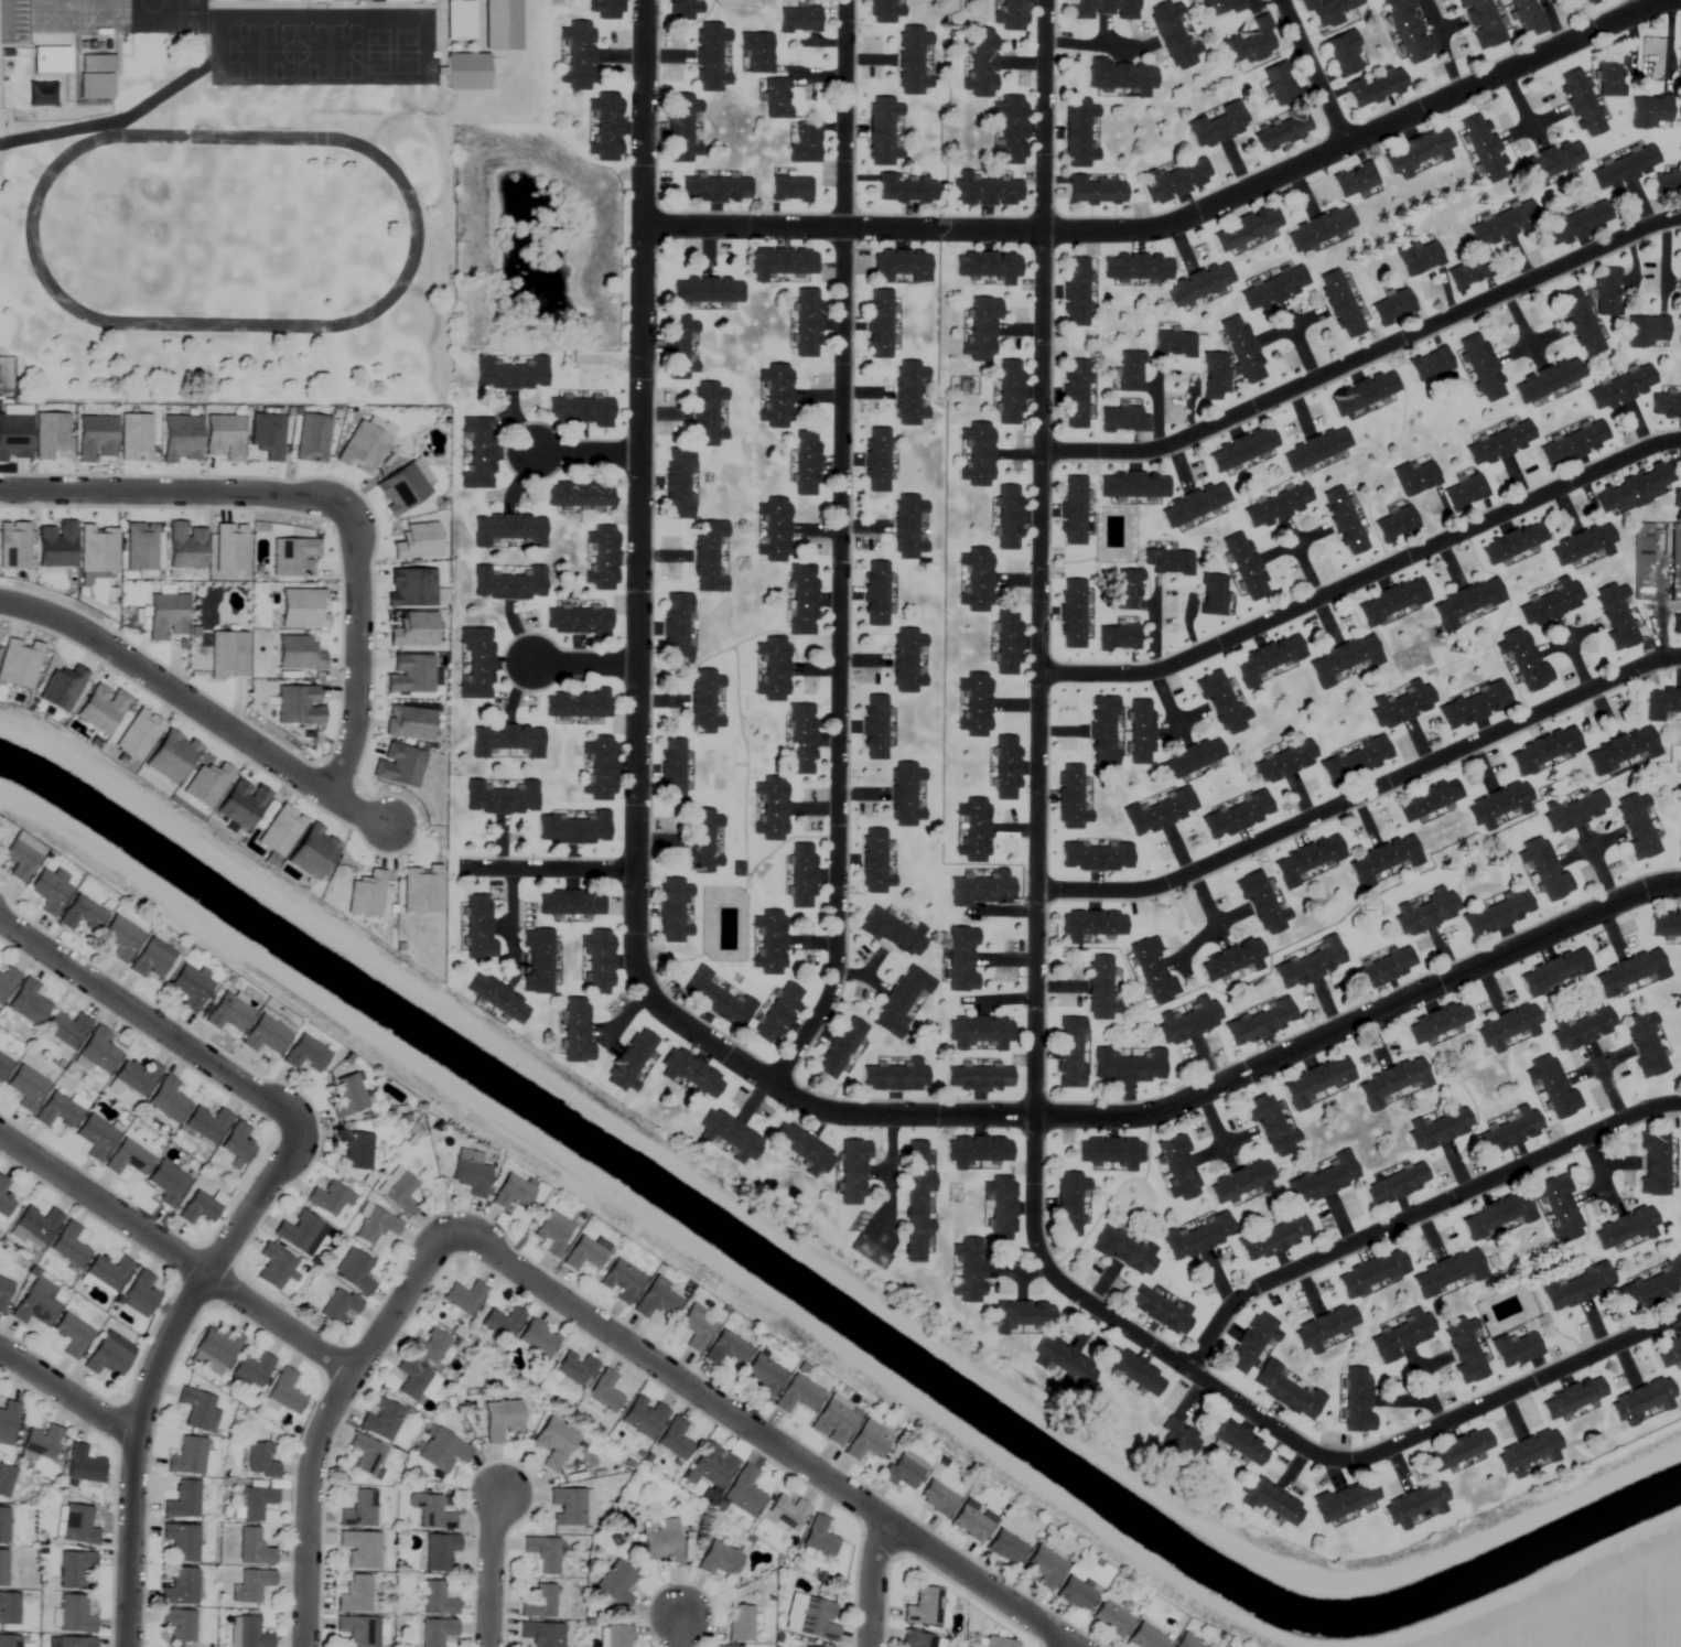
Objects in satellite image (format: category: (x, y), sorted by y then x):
building: (349, 1)
building: (1590, 1)
building: (1219, 7)
building: (1104, 9)
building: (617, 10)
building: (683, 10)
building: (1328, 11)
building: (883, 12)
building: (1010, 15)
building: (1528, 17)
building: (459, 20)
building: (798, 20)
building: (502, 23)
building: (1480, 23)
building: (1408, 30)
building: (1172, 36)
building: (1251, 43)
road: (1100, 44)
road: (1441, 46)
building: (756, 52)
building: (581, 53)
building: (1344, 55)
building: (709, 56)
building: (52, 57)
building: (910, 61)
building: (97, 62)
building: (979, 63)
building: (466, 68)
road: (1316, 73)
building: (1121, 76)
building: (1610, 76)
building: (1679, 80)
building: (96, 84)
building: (1279, 85)
building: (1375, 89)
building: (41, 95)
building: (776, 99)
building: (1580, 104)
building: (1650, 112)
building: (1218, 126)
building: (680, 128)
building: (610, 129)
building: (881, 130)
building: (1011, 130)
building: (1283, 131)
building: (1078, 133)
building: (805, 144)
building: (1484, 148)
building: (1418, 153)
building: (1545, 163)
building: (1625, 168)
building: (1175, 180)
building: (1355, 180)
building: (1667, 184)
building: (790, 189)
building: (905, 189)
building: (714, 190)
building: (1096, 190)
building: (984, 192)
road: (1179, 222)
building: (1576, 224)
building: (1246, 227)
building: (1495, 227)
building: (1319, 228)
building: (1418, 257)
building: (779, 261)
building: (901, 265)
building: (989, 265)
building: (1136, 266)
building: (1468, 272)
building: (1198, 283)
building: (1274, 288)
building: (707, 289)
building: (1075, 291)
building: (1606, 292)
building: (1679, 300)
building: (1339, 303)
building: (1392, 308)
building: (1580, 322)
building: (807, 323)
building: (877, 324)
building: (981, 329)
building: (1647, 330)
building: (1174, 344)
building: (678, 346)
building: (1242, 349)
road: (1366, 356)
building: (1430, 364)
building: (1481, 367)
building: (514, 372)
building: (1130, 372)
building: (1214, 376)
building: (1547, 379)
building: (1620, 387)
building: (1010, 391)
building: (1362, 392)
building: (908, 394)
building: (1074, 394)
building: (775, 395)
building: (1666, 405)
building: (582, 410)
building: (707, 413)
building: (1122, 419)
road: (642, 433)
building: (1499, 443)
building: (1573, 443)
building: (1241, 448)
building: (1315, 449)
building: (482, 452)
road: (583, 453)
building: (977, 454)
building: (876, 460)
building: (806, 463)
building: (1414, 477)
building: (678, 483)
building: (1133, 485)
building: (1635, 488)
building: (1464, 492)
road: (173, 494)
building: (583, 495)
building: (1677, 497)
building: (1194, 504)
building: (1276, 505)
building: (1073, 510)
building: (1007, 517)
building: (1343, 521)
building: (1396, 524)
building: (907, 527)
building: (509, 528)
building: (774, 529)
building: (1511, 542)
building: (1582, 543)
road: (842, 550)
building: (708, 556)
building: (606, 557)
building: (1170, 561)
building: (1641, 562)
building: (1674, 562)
building: (1246, 566)
building: (976, 580)
road: (1366, 580)
building: (509, 583)
building: (1128, 590)
building: (875, 593)
building: (1213, 594)
building: (801, 599)
building: (1392, 600)
building: (1465, 602)
building: (1551, 602)
building: (1071, 614)
building: (1615, 617)
building: (579, 620)
building: (1675, 624)
building: (676, 628)
road: (742, 638)
building: (1118, 638)
building: (1007, 643)
road: (354, 653)
building: (1522, 658)
building: (1265, 659)
building: (1341, 659)
building: (906, 660)
building: (478, 663)
road: (585, 664)
building: (772, 668)
building: (703, 701)
building: (579, 702)
building: (974, 703)
building: (1221, 703)
building: (1401, 704)
building: (1474, 704)
building: (1663, 704)
road: (198, 709)
building: (874, 726)
building: (1102, 732)
building: (1140, 732)
building: (508, 738)
building: (799, 739)
building: (1404, 750)
building: (1544, 750)
building: (1620, 751)
building: (1190, 758)
building: (1355, 760)
building: (1284, 761)
road: (750, 764)
building: (602, 766)
building: (1005, 768)
building: (671, 769)
road: (1364, 794)
building: (905, 795)
building: (500, 796)
building: (1070, 798)
building: (1429, 801)
building: (1498, 807)
building: (771, 808)
building: (1160, 811)
building: (1572, 811)
building: (1236, 816)
building: (1636, 826)
building: (575, 827)
building: (973, 830)
building: (702, 841)
building: (1680, 841)
road: (782, 842)
building: (1096, 857)
building: (19, 860)
building: (1308, 860)
building: (1383, 861)
building: (873, 862)
building: (1544, 869)
road: (562, 870)
building: (801, 875)
building: (982, 890)
building: (50, 891)
building: (573, 903)
building: (1262, 903)
building: (672, 911)
building: (1424, 912)
building: (1497, 913)
building: (82, 915)
building: (477, 924)
building: (1091, 924)
building: (1666, 924)
building: (893, 932)
building: (121, 939)
building: (769, 941)
building: (539, 956)
building: (601, 959)
building: (961, 959)
building: (1230, 961)
building: (149, 962)
building: (1311, 964)
building: (1387, 967)
building: (1554, 971)
building: (1152, 972)
building: (1630, 972)
building: (7, 982)
building: (191, 988)
building: (1100, 988)
building: (500, 995)
building: (715, 999)
road: (1035, 999)
building: (901, 1001)
building: (26, 1004)
building: (228, 1014)
building: (777, 1014)
building: (1188, 1020)
building: (1260, 1022)
building: (1437, 1022)
road: (154, 1023)
building: (575, 1025)
building: (1507, 1026)
building: (1582, 1027)
building: (65, 1030)
building: (981, 1032)
building: (266, 1035)
building: (1645, 1044)
building: (839, 1048)
building: (98, 1052)
building: (1069, 1052)
building: (305, 1055)
building: (634, 1057)
building: (3, 1066)
building: (1128, 1066)
building: (693, 1072)
building: (895, 1076)
building: (979, 1078)
building: (132, 1079)
building: (1315, 1083)
building: (1392, 1083)
building: (1553, 1086)
building: (25, 1089)
building: (347, 1097)
building: (166, 1100)
building: (56, 1112)
road: (1106, 1118)
building: (206, 1124)
building: (1271, 1126)
building: (1438, 1128)
building: (1511, 1131)
building: (729, 1134)
building: (95, 1138)
building: (237, 1144)
building: (801, 1148)
building: (354, 1150)
building: (978, 1150)
building: (1109, 1152)
building: (127, 1160)
building: (1653, 1163)
building: (1178, 1167)
building: (852, 1171)
road: (887, 1173)
building: (470, 1177)
building: (1323, 1180)
building: (1240, 1182)
building: (166, 1184)
building: (1396, 1185)
building: (398, 1192)
building: (514, 1192)
building: (328, 1199)
building: (4, 1201)
building: (916, 1201)
building: (1068, 1203)
building: (1001, 1207)
building: (1560, 1208)
building: (197, 1209)
road: (1416, 1213)
building: (1497, 1216)
building: (37, 1224)
building: (374, 1226)
building: (1625, 1228)
building: (295, 1232)
building: (552, 1234)
building: (1197, 1237)
building: (1273, 1238)
building: (68, 1247)
building: (1123, 1251)
road: (176, 1253)
building: (583, 1256)
building: (273, 1267)
building: (968, 1270)
building: (354, 1271)
building: (107, 1272)
building: (1446, 1272)
building: (1372, 1273)
building: (622, 1282)
building: (1652, 1285)
building: (1577, 1287)
building: (141, 1292)
building: (3, 1293)
building: (463, 1298)
building: (656, 1302)
building: (337, 1306)
building: (33, 1307)
building: (1161, 1311)
building: (1019, 1315)
building: (502, 1323)
building: (1324, 1327)
building: (696, 1328)
building: (71, 1335)
building: (537, 1338)
building: (1400, 1338)
building: (1250, 1343)
building: (1515, 1348)
building: (215, 1349)
building: (726, 1349)
building: (1464, 1349)
building: (1668, 1350)
building: (108, 1356)
building: (1064, 1363)
road: (157, 1366)
building: (575, 1368)
building: (252, 1369)
building: (1133, 1370)
building: (762, 1377)
building: (410, 1379)
building: (604, 1391)
building: (1285, 1391)
building: (284, 1392)
road: (69, 1393)
building: (798, 1395)
building: (1573, 1397)
building: (1641, 1400)
building: (1357, 1401)
building: (195, 1409)
building: (643, 1415)
road: (326, 1419)
building: (380, 1419)
building: (500, 1420)
building: (834, 1421)
building: (7, 1422)
road: (763, 1436)
building: (674, 1439)
building: (1178, 1439)
building: (1236, 1440)
building: (869, 1441)
building: (41, 1442)
building: (552, 1443)
building: (1458, 1449)
building: (441, 1451)
building: (1529, 1451)
building: (367, 1455)
building: (186, 1456)
building: (259, 1460)
building: (83, 1465)
building: (712, 1465)
building: (903, 1470)
building: (6, 1479)
building: (743, 1492)
building: (937, 1498)
building: (1345, 1499)
building: (182, 1501)
building: (255, 1501)
building: (1272, 1501)
building: (1415, 1505)
building: (567, 1506)
building: (358, 1510)
building: (430, 1511)
building: (786, 1514)
building: (972, 1521)
building: (2, 1525)
building: (77, 1525)
building: (819, 1537)
building: (181, 1541)
building: (660, 1541)
building: (252, 1548)
building: (1006, 1548)
building: (359, 1549)
building: (439, 1551)
building: (542, 1553)
building: (718, 1560)
building: (2, 1568)
building: (1045, 1568)
building: (74, 1569)
road: (491, 1570)
road: (872, 1582)
building: (250, 1585)
building: (615, 1585)
building: (179, 1587)
building: (354, 1594)
building: (1076, 1594)
building: (435, 1598)
building: (539, 1602)
building: (923, 1607)
building: (9, 1608)
crop: (1607, 1613)
building: (74, 1614)
building: (809, 1618)
building: (1111, 1619)
building: (740, 1623)
building: (177, 1624)
building: (354, 1629)
road: (678, 1630)
building: (435, 1632)
building: (250, 1633)
building: (541, 1634)
building: (616, 1636)
building: (1145, 1637)
building: (917, 1639)
building: (9, 1640)
building: (75, 1641)
building: (1186, 1641)
building: (998, 1643)
road: (1064, 1644)
building: (728, 1646)
building: (804, 1646)

